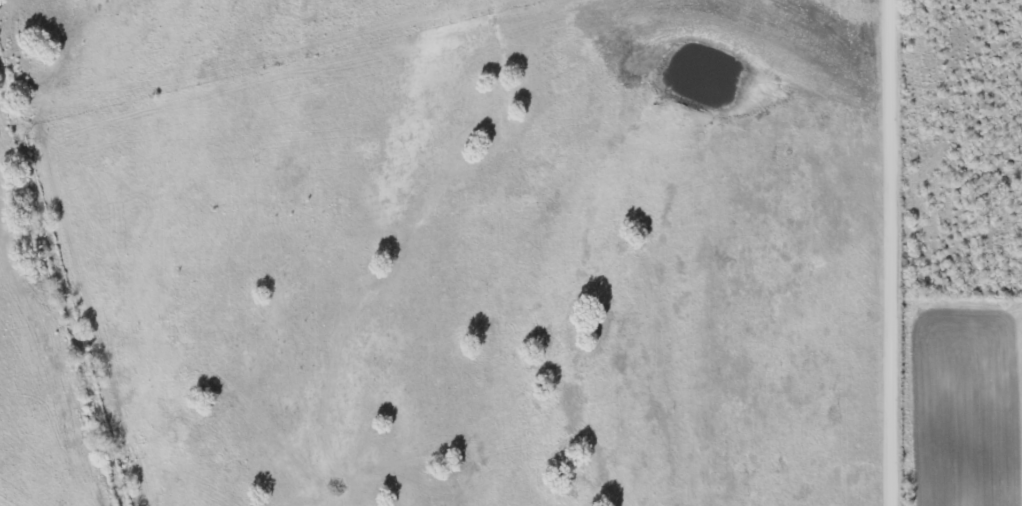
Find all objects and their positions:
road: (888, 253)

